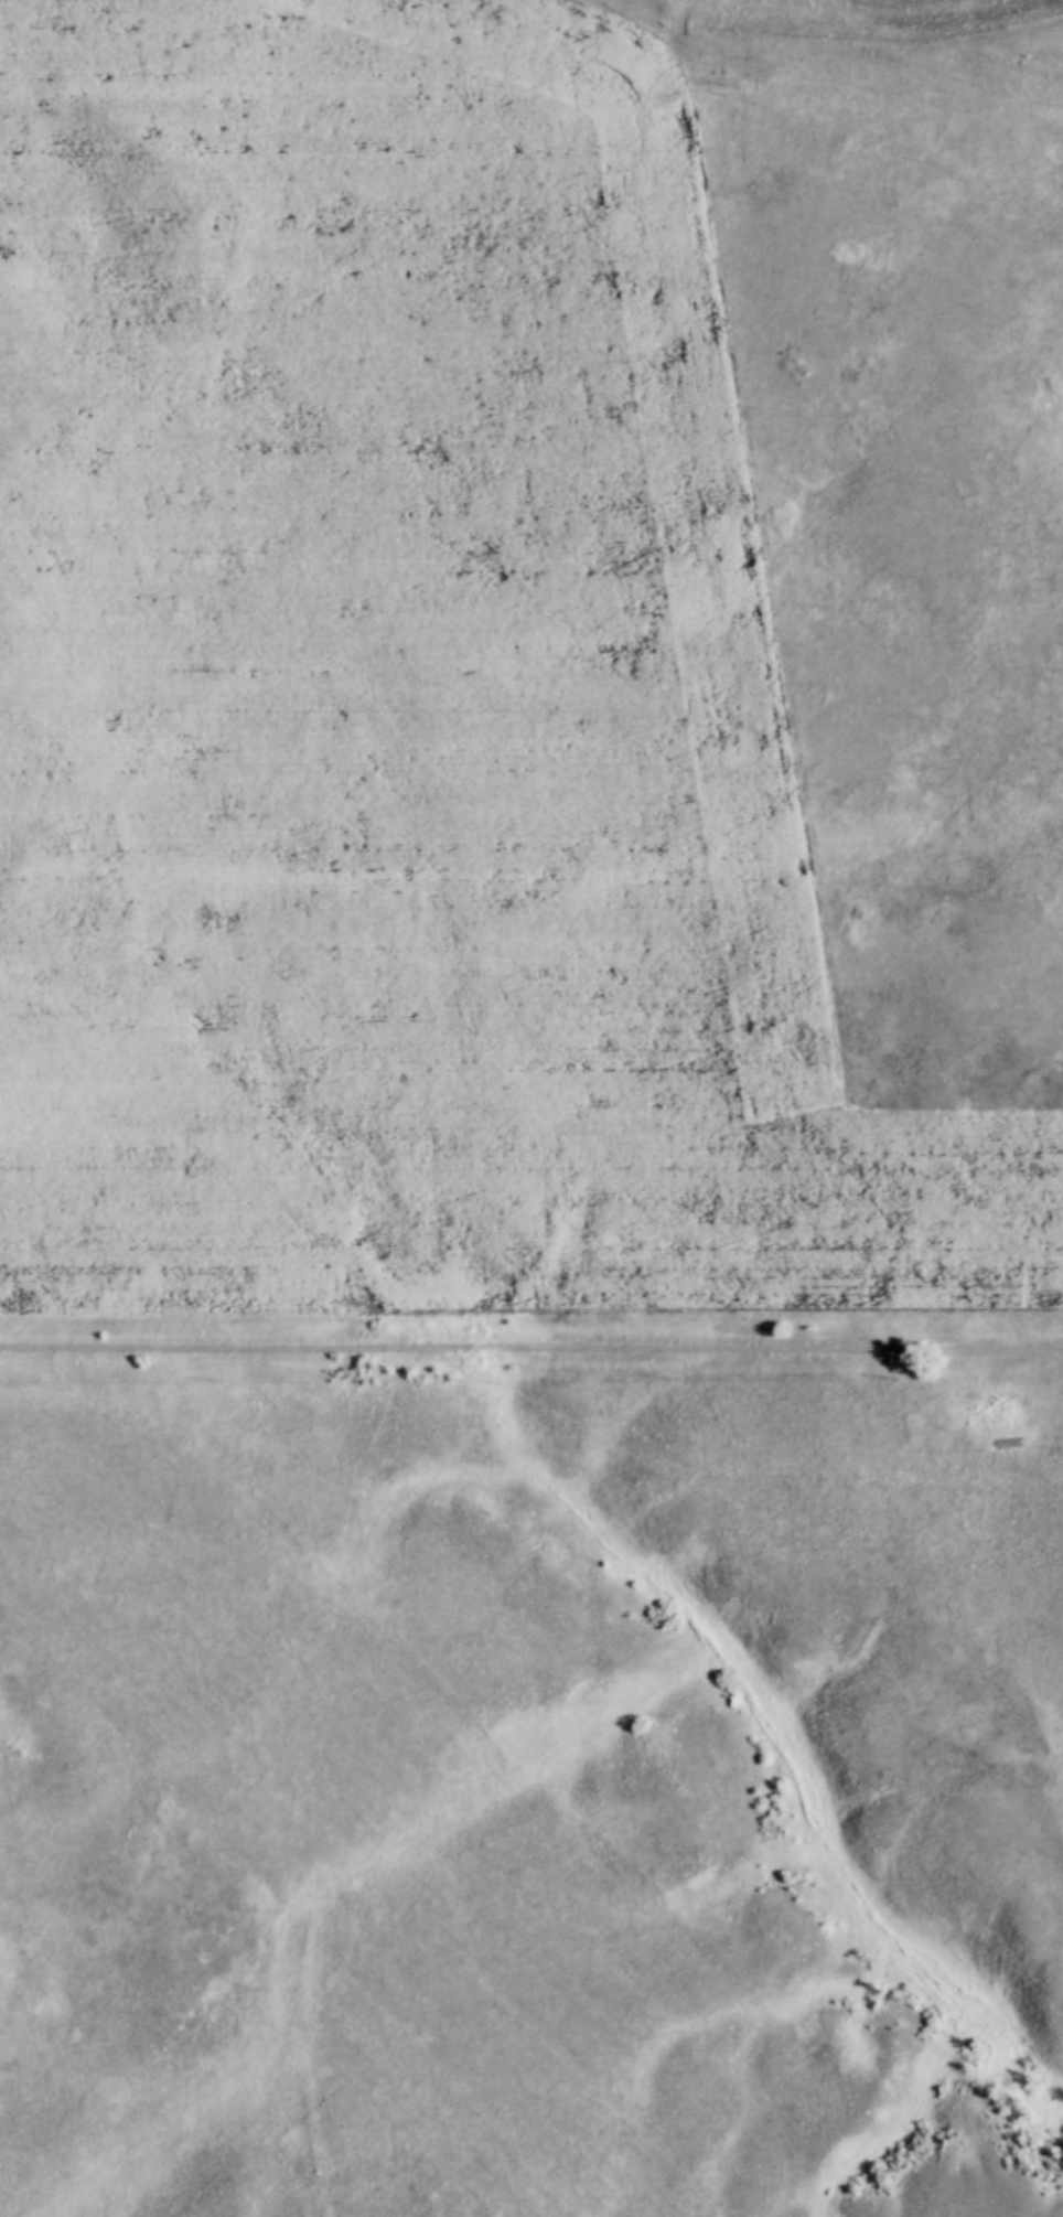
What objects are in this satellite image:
road: (531, 1346)

